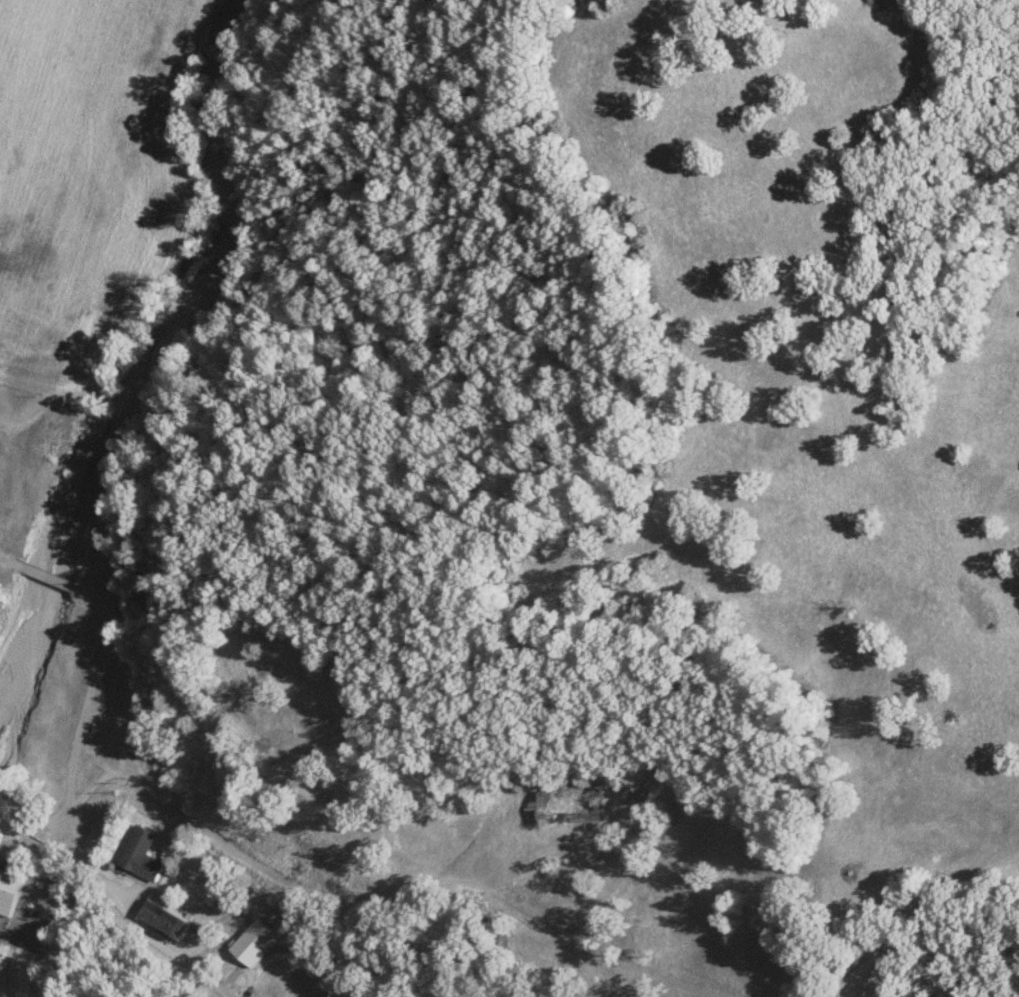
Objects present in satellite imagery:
road: (72, 578)
building: (566, 805)
building: (137, 853)
building: (8, 890)
building: (161, 918)
building: (251, 940)
building: (337, 995)

